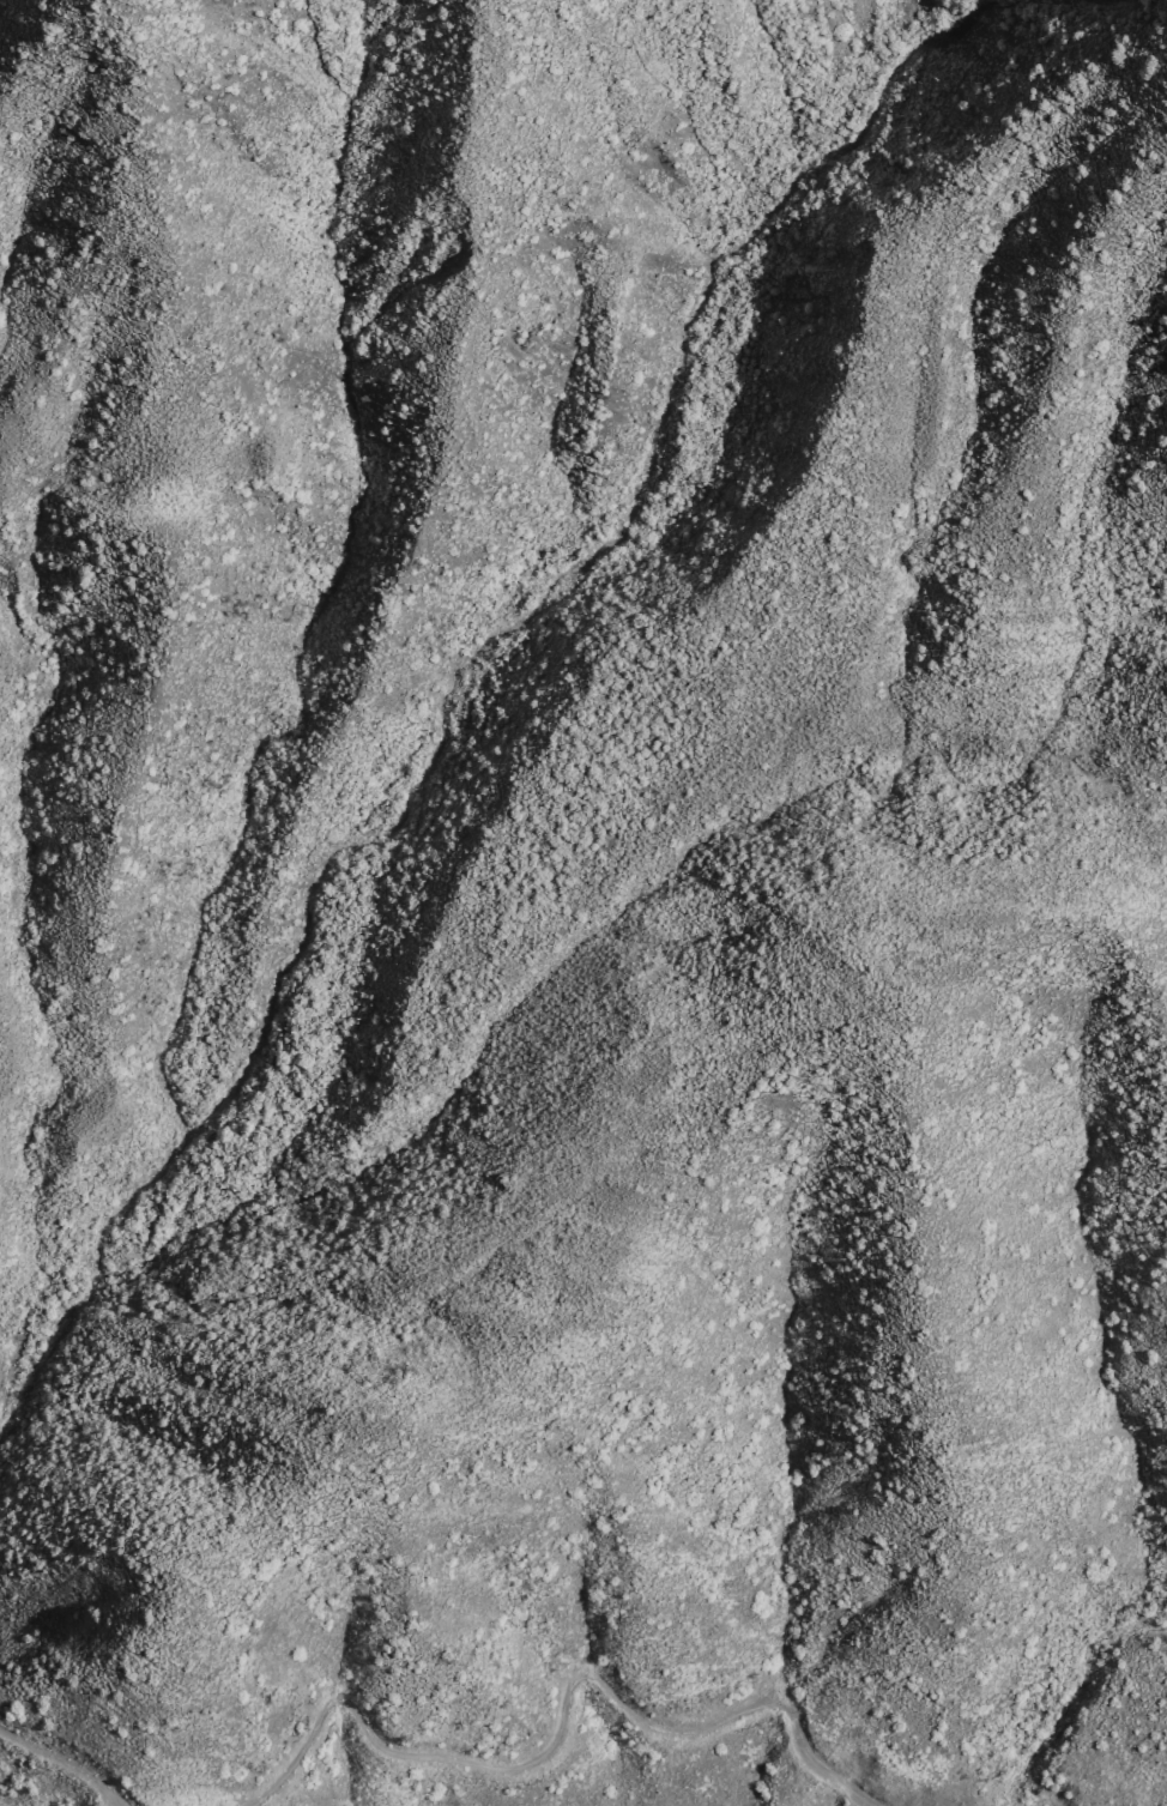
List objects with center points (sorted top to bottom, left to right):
road: (560, 1701)
road: (68, 1759)

